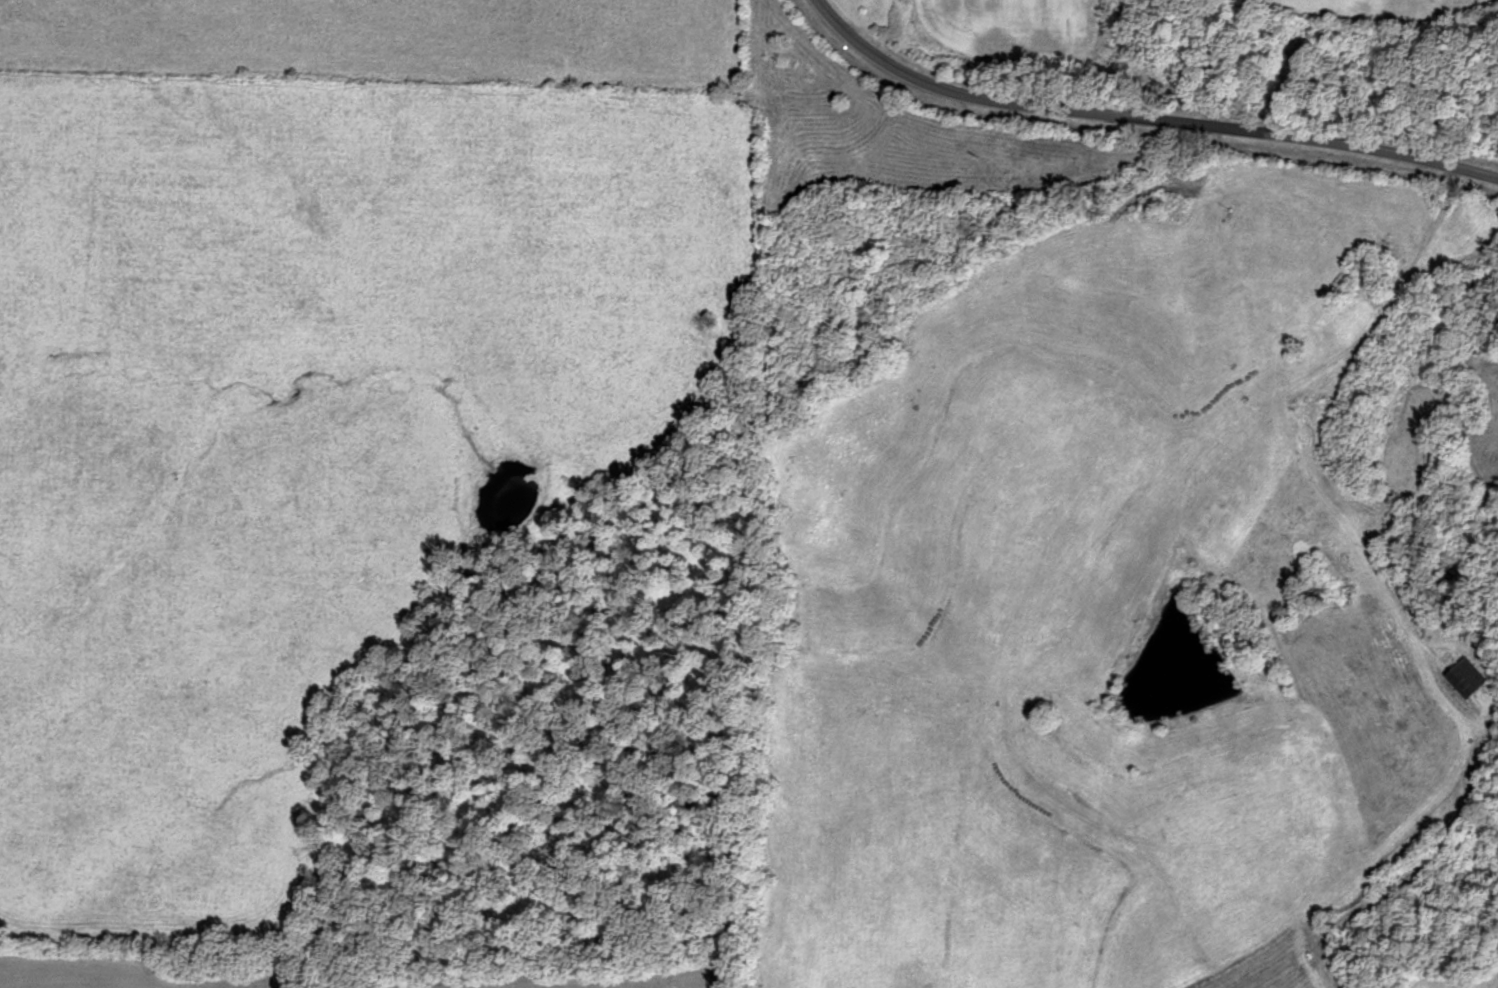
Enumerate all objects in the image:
road: (1143, 110)
building: (1467, 678)

